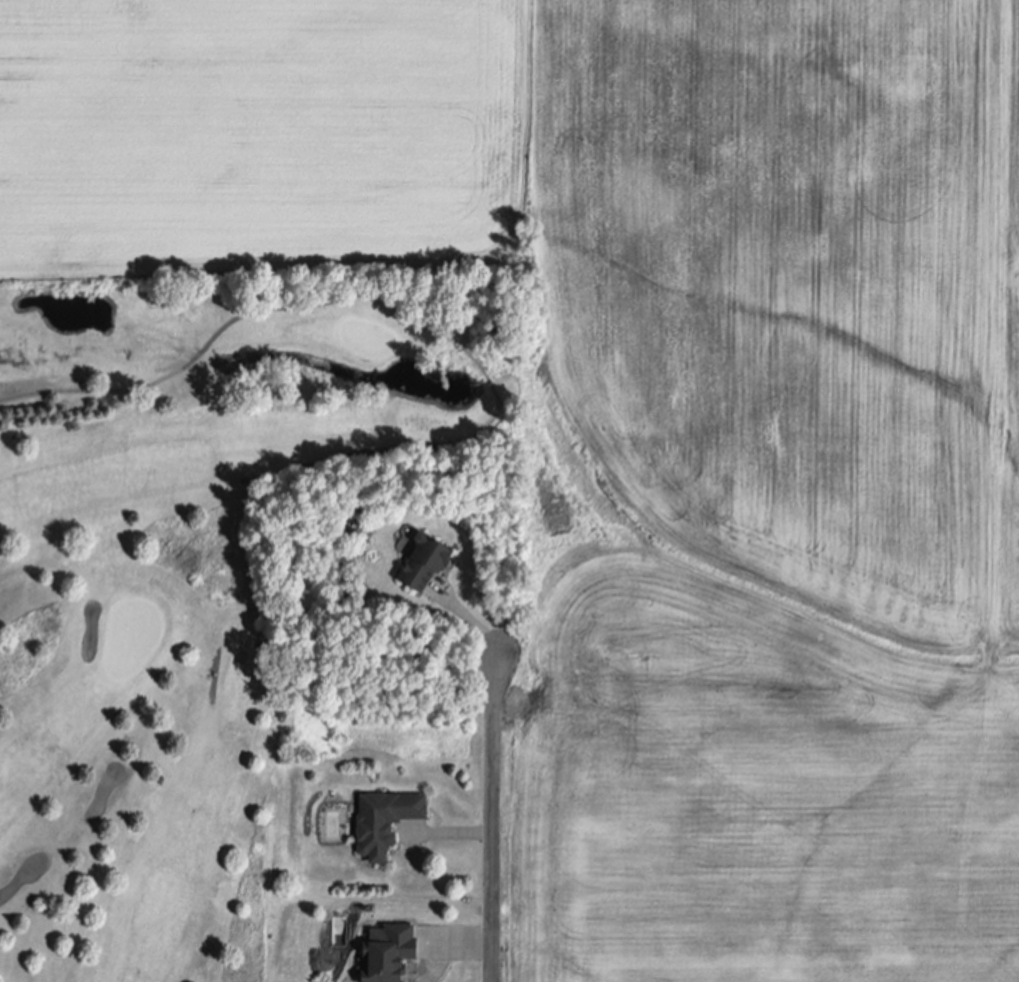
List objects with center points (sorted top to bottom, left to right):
building: (424, 566)
park: (193, 572)
road: (494, 820)
building: (385, 825)
building: (389, 955)

